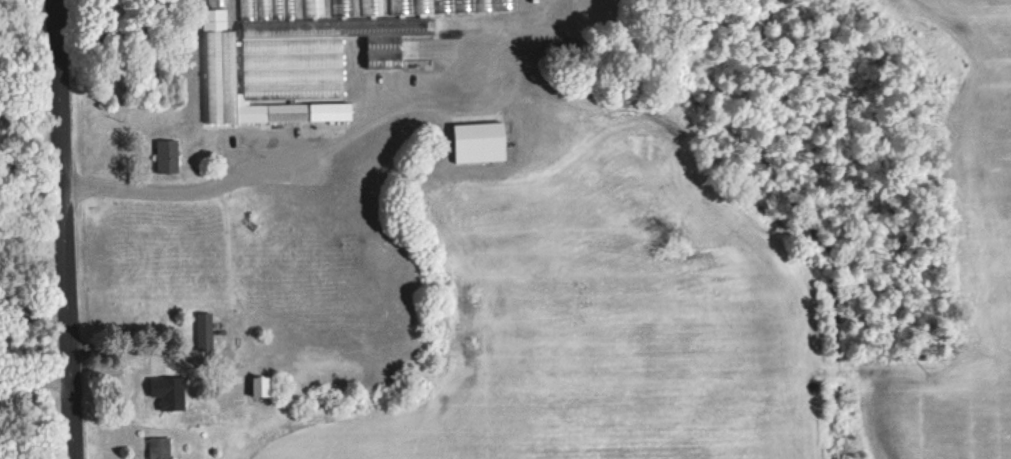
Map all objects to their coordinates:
building: (370, 7)
building: (302, 57)
road: (31, 115)
building: (476, 142)
building: (164, 156)
road: (284, 161)
road: (66, 229)
road: (34, 299)
building: (202, 331)
building: (261, 385)
building: (167, 389)
road: (36, 397)
building: (156, 447)

